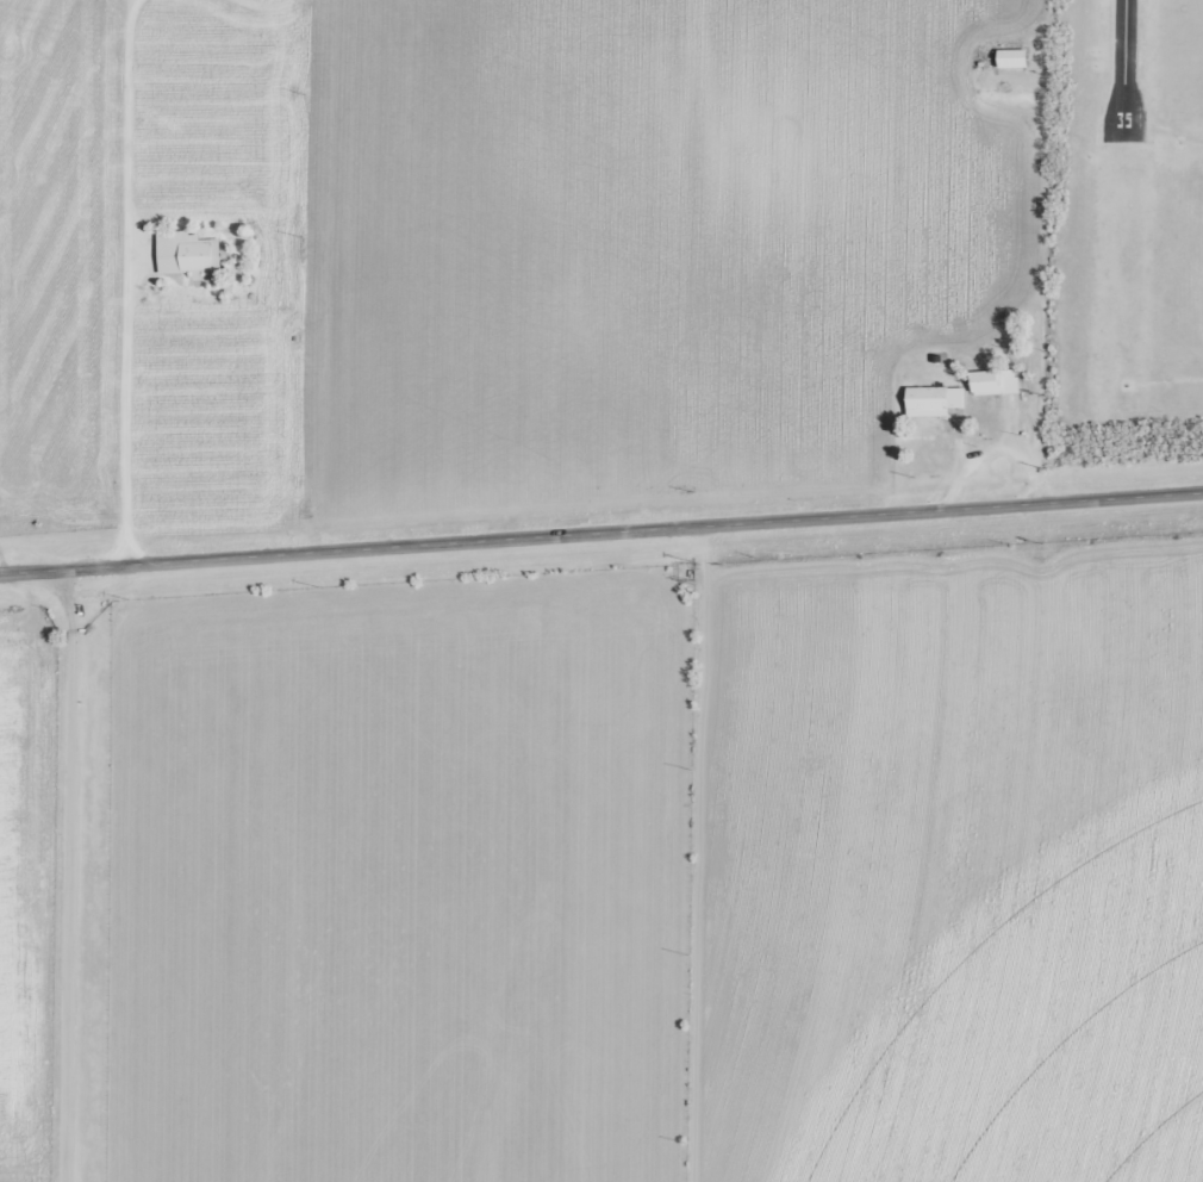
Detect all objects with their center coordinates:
building: (1010, 58)
airport runway: (1122, 69)
airport: (1123, 214)
building: (187, 254)
building: (992, 382)
building: (931, 400)
railway: (601, 502)
road: (600, 535)
road: (64, 877)

